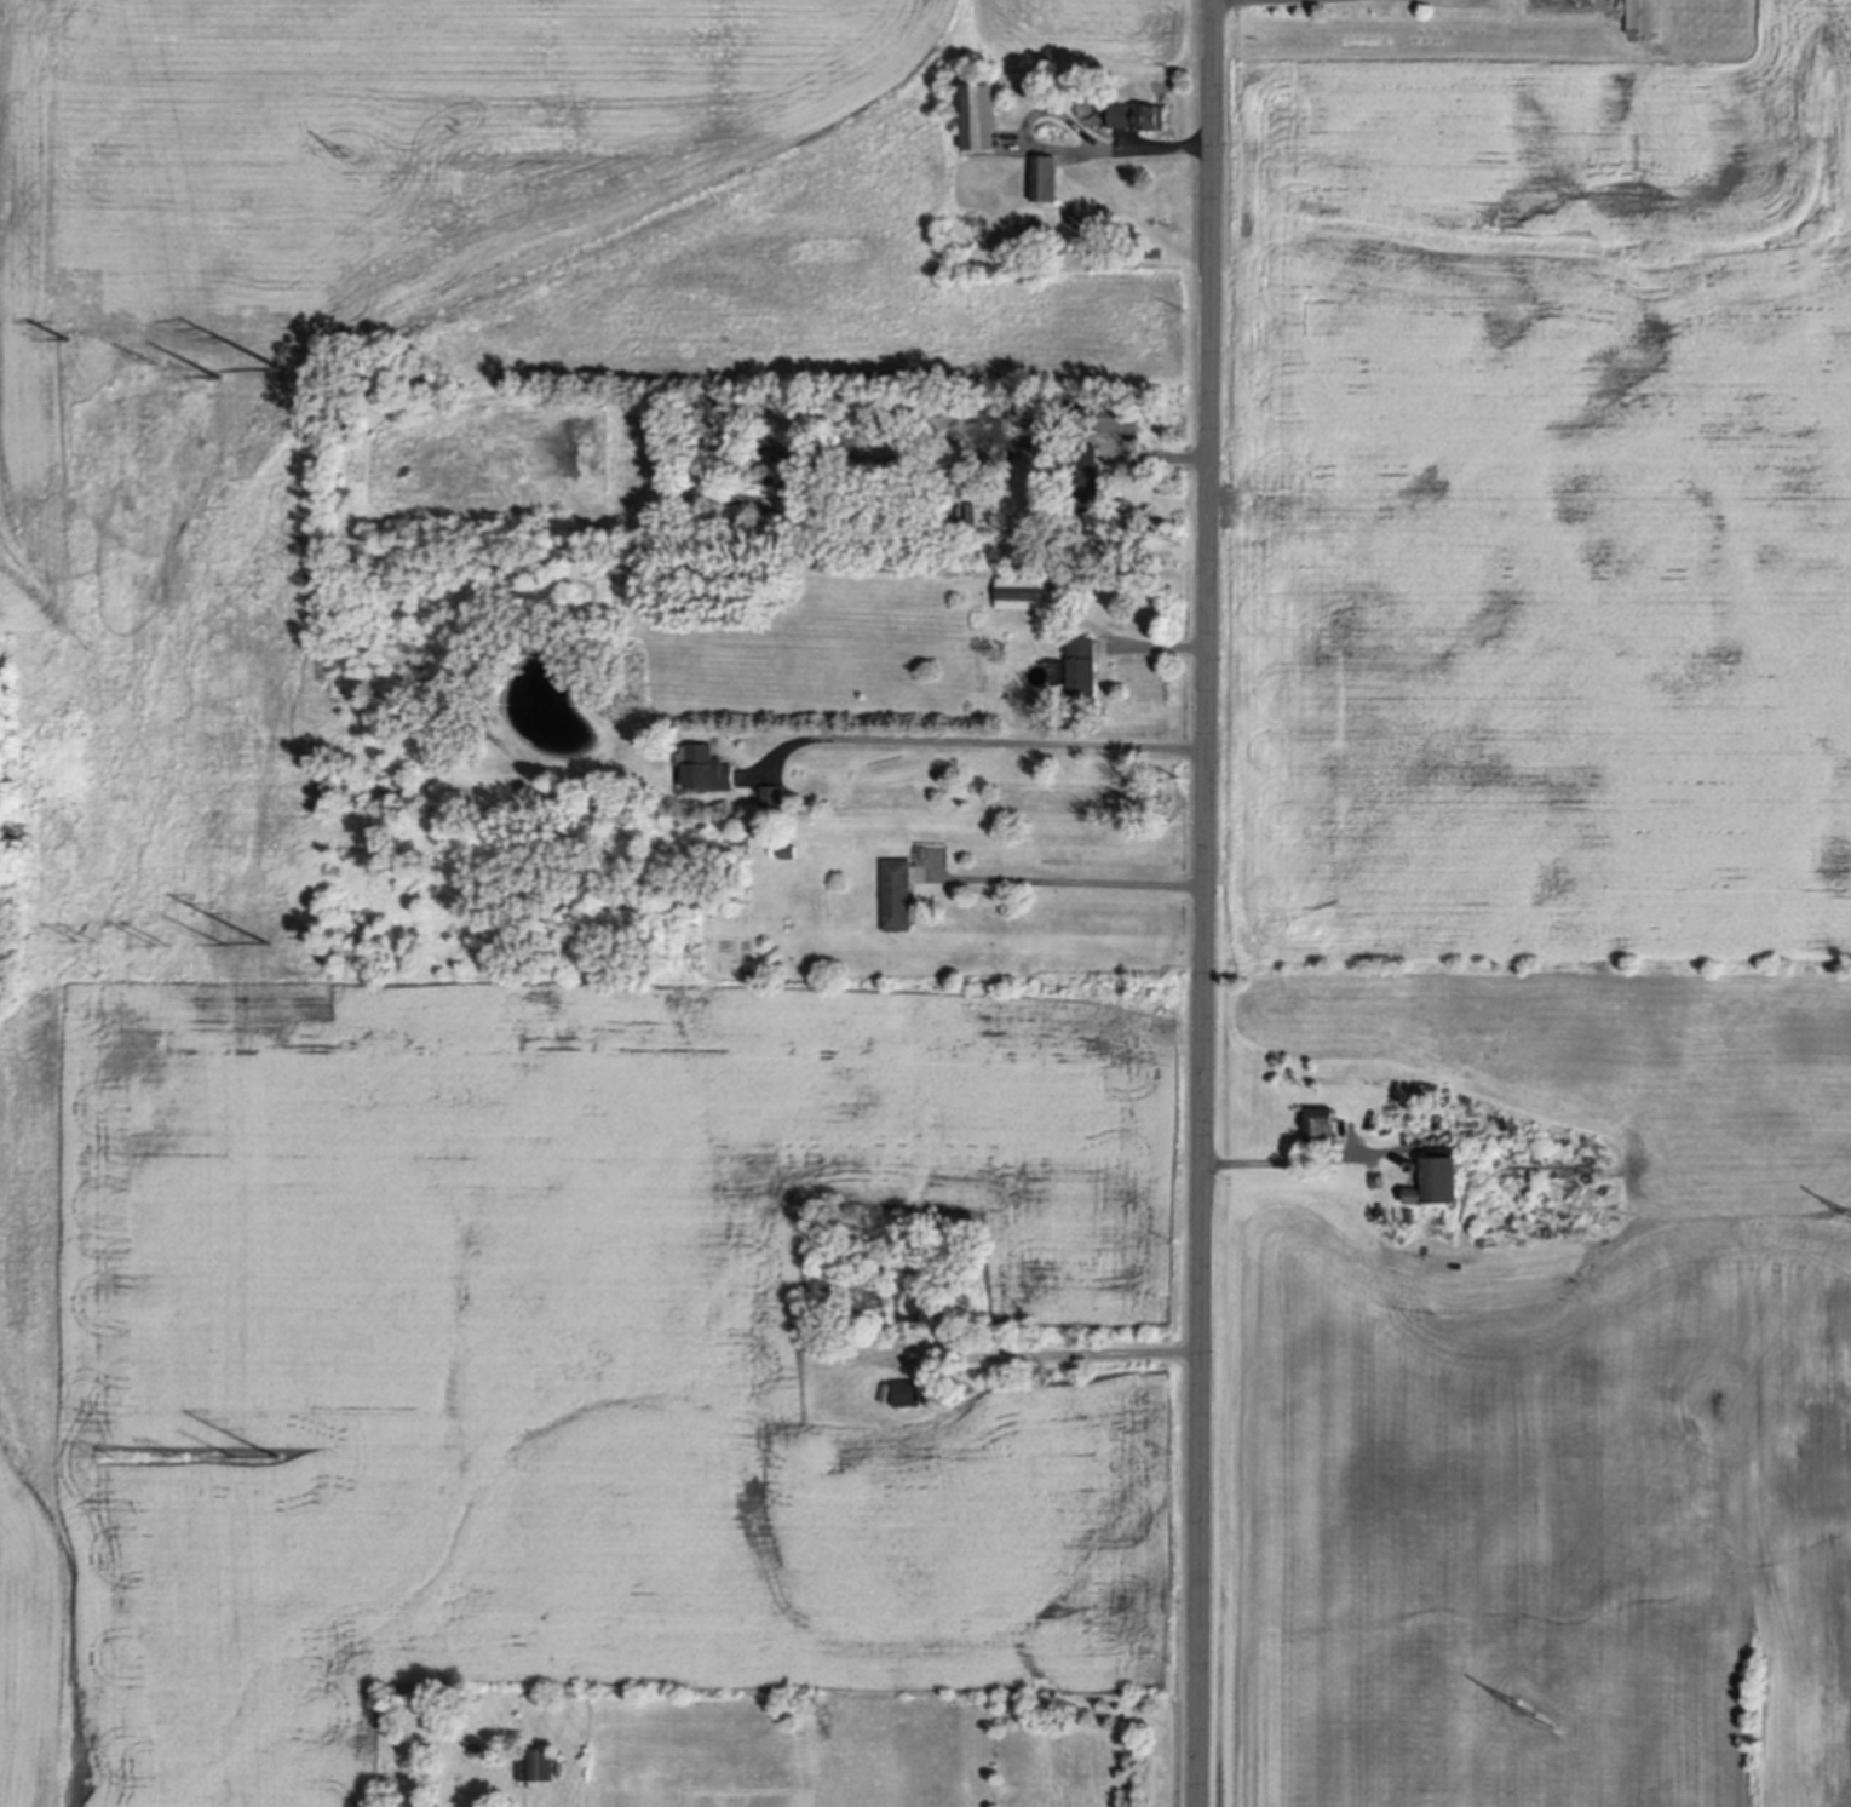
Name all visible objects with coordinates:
building: (1644, 17)
building: (1029, 88)
building: (981, 120)
building: (1139, 120)
road: (1067, 147)
power tower: (341, 151)
building: (1045, 180)
power tower: (69, 345)
power tower: (144, 361)
power tower: (278, 371)
power tower: (212, 377)
building: (1120, 421)
road: (1161, 460)
building: (1086, 481)
building: (769, 483)
building: (789, 491)
building: (1024, 596)
building: (1083, 673)
road: (983, 736)
building: (708, 774)
building: (774, 801)
building: (788, 855)
road: (1073, 876)
building: (898, 899)
road: (1209, 904)
power tower: (214, 945)
power tower: (264, 945)
power tower: (88, 946)
power tower: (165, 951)
building: (1321, 1130)
road: (1304, 1161)
building: (1437, 1191)
building: (1412, 1220)
building: (919, 1313)
building: (849, 1316)
road: (1052, 1355)
building: (908, 1396)
power tower: (226, 1457)
power tower: (274, 1457)
power tower: (178, 1459)
power tower: (107, 1461)
power tower: (1535, 1713)
road: (1535, 1713)
building: (515, 1748)
building: (539, 1759)

